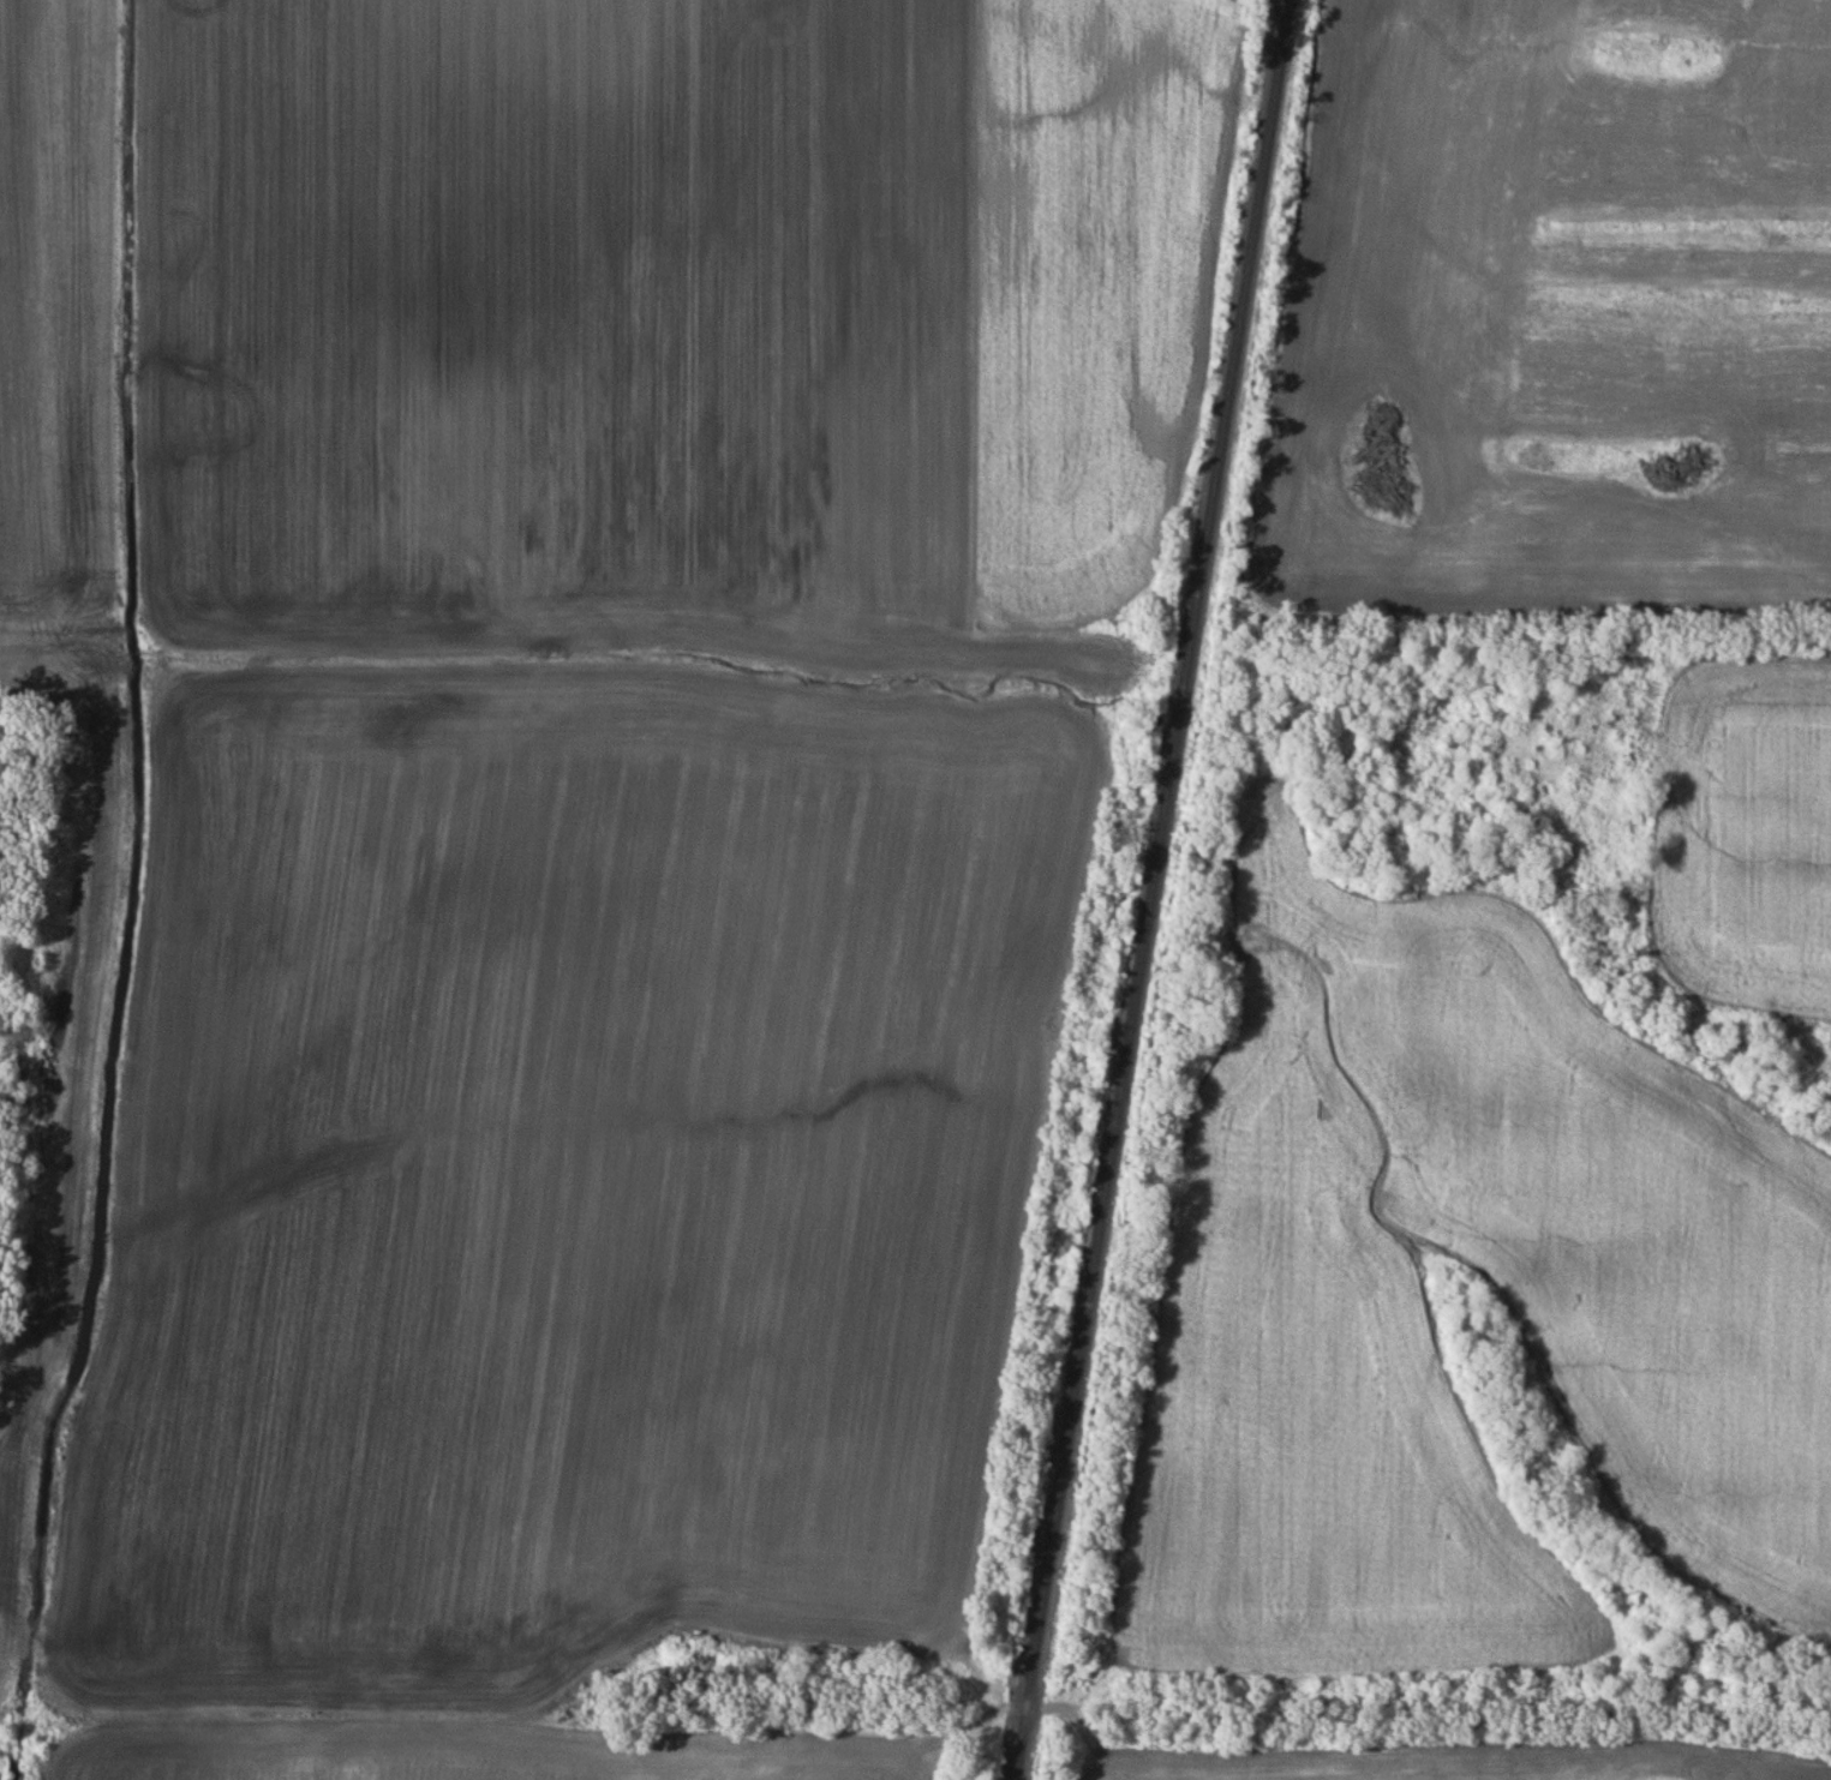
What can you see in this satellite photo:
road: (127, 305)
railway: (1173, 891)

